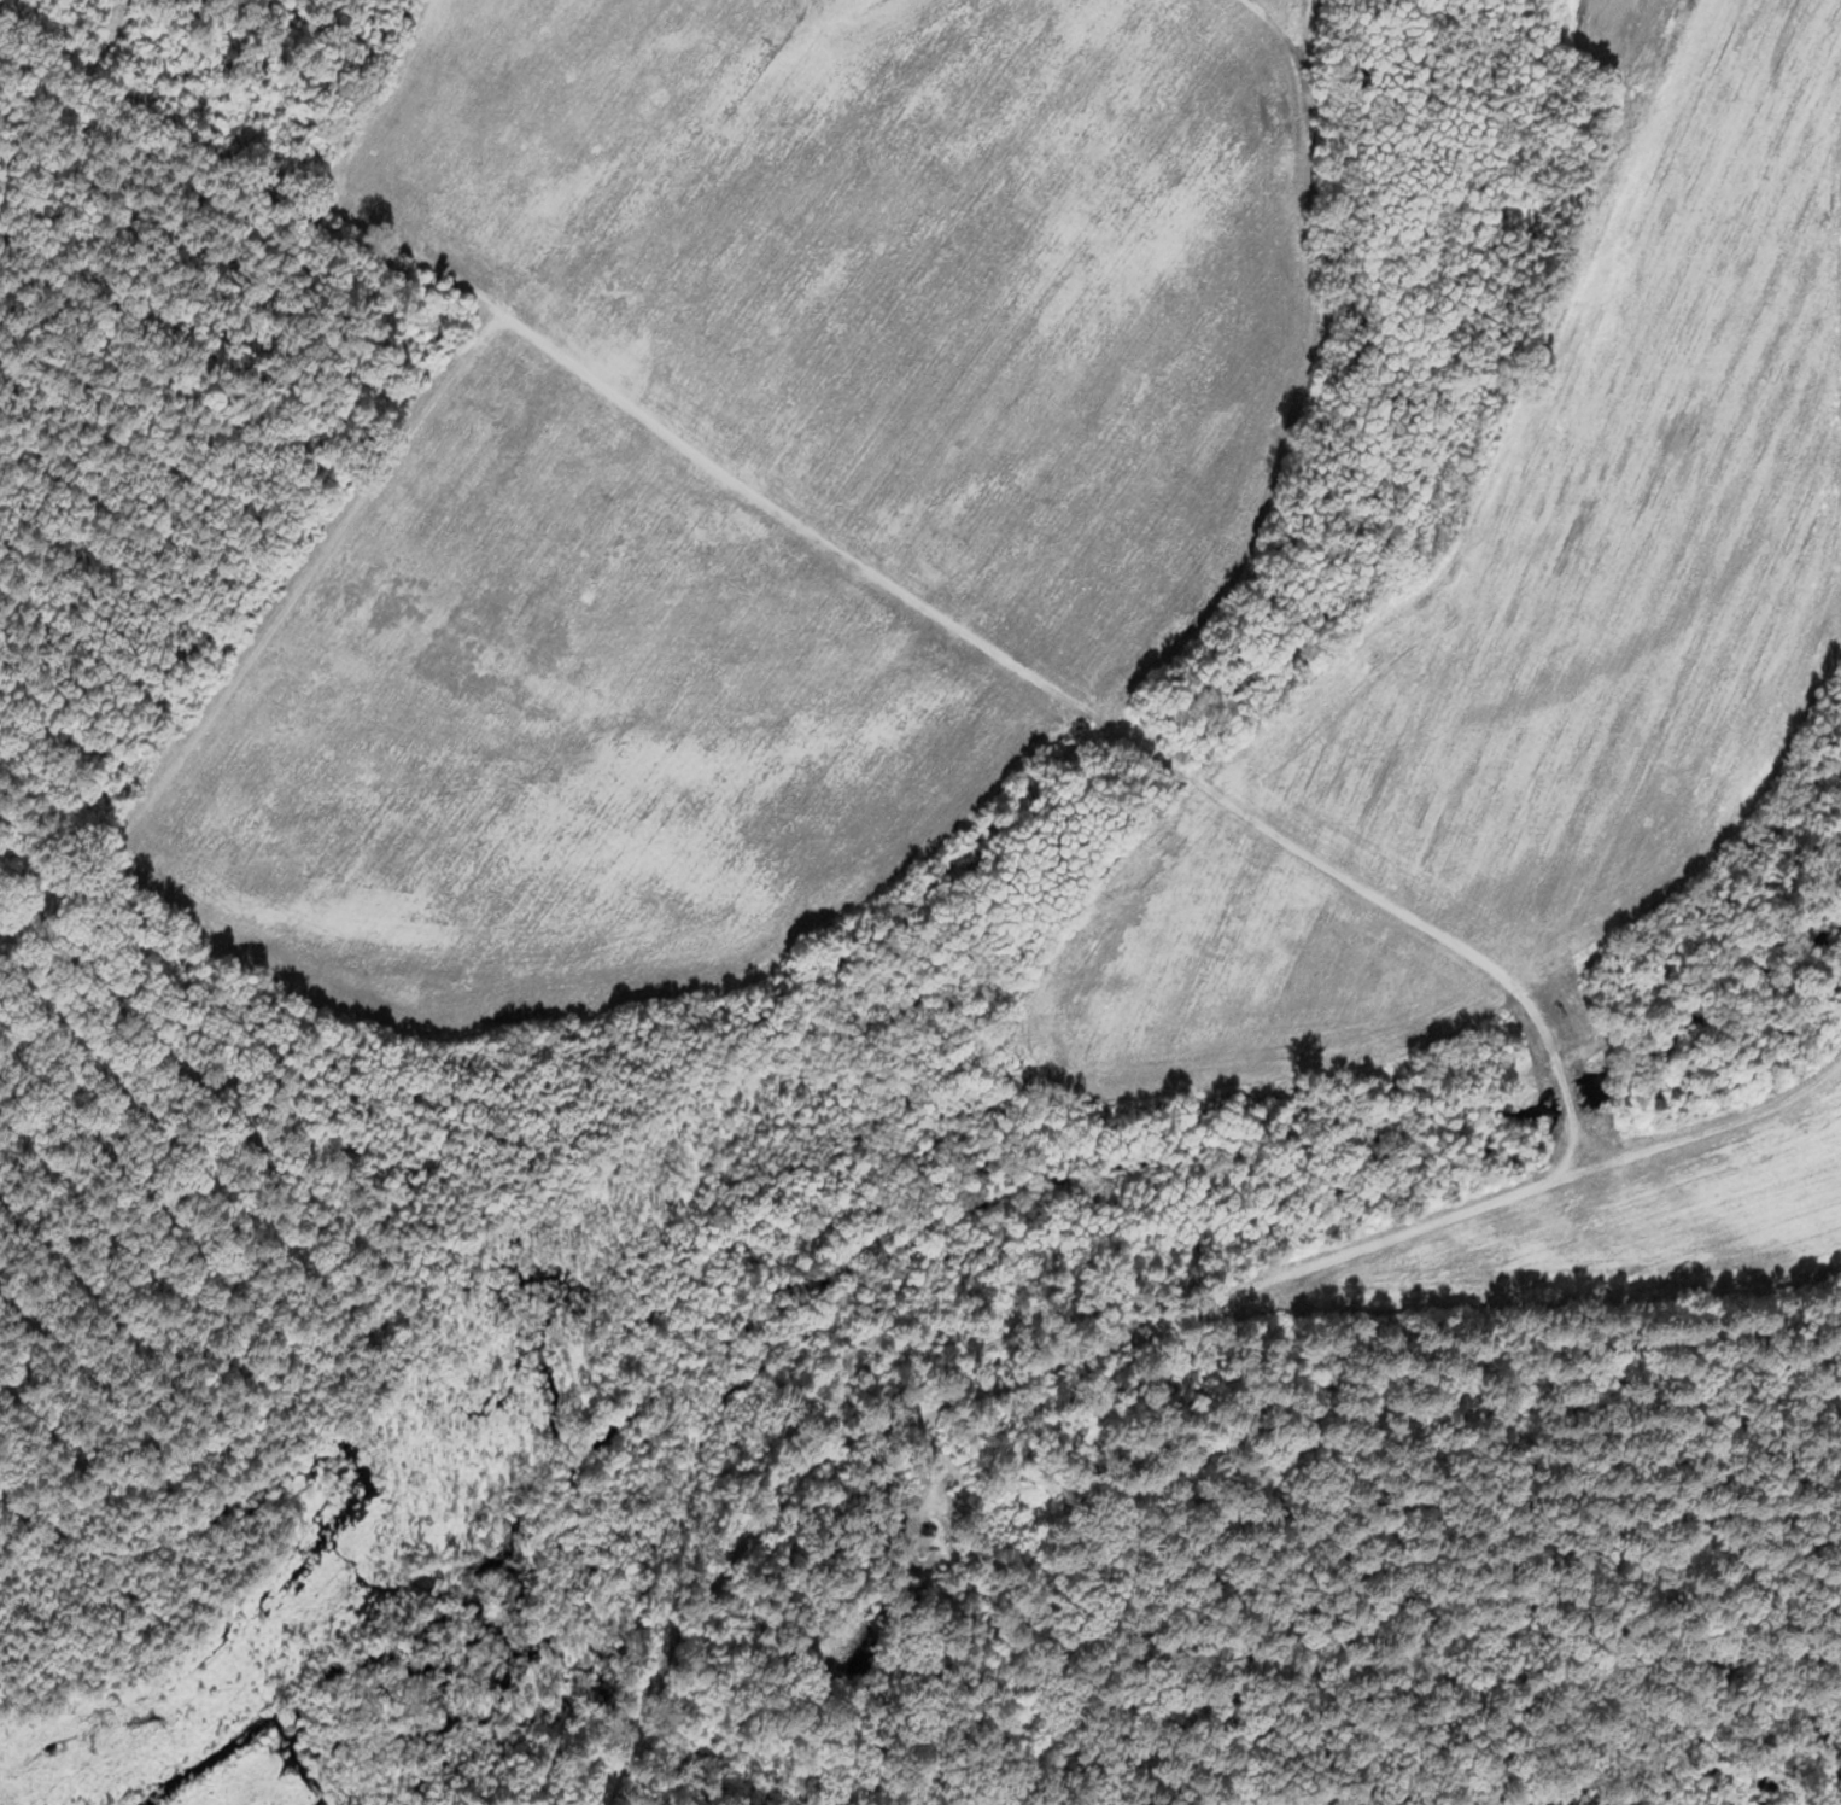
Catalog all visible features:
road: (273, 632)
road: (1364, 901)

